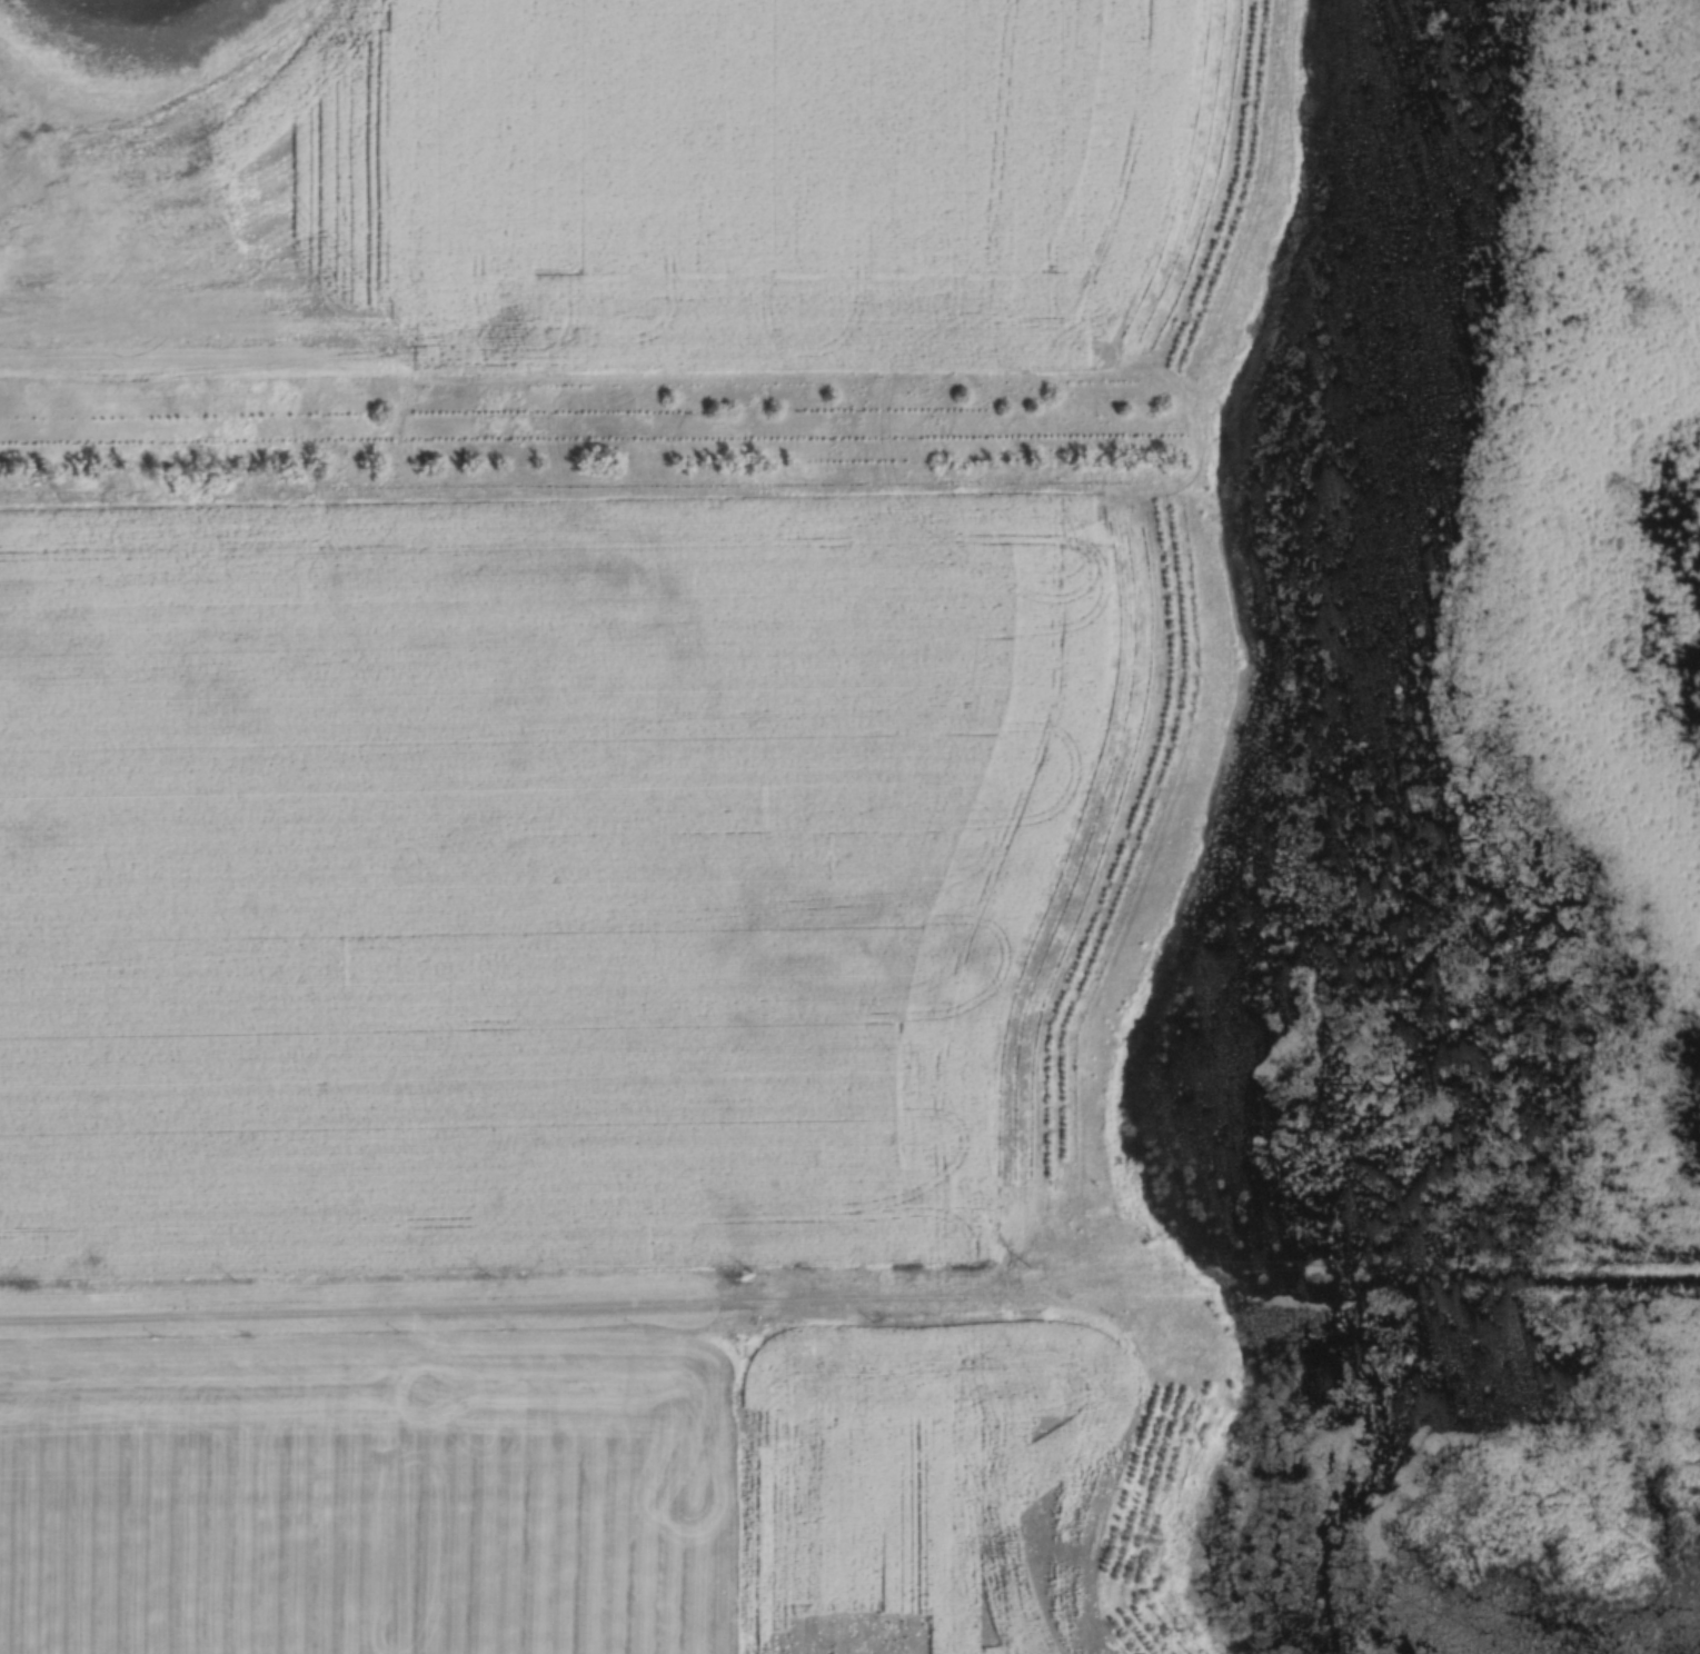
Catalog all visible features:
road: (370, 1317)

